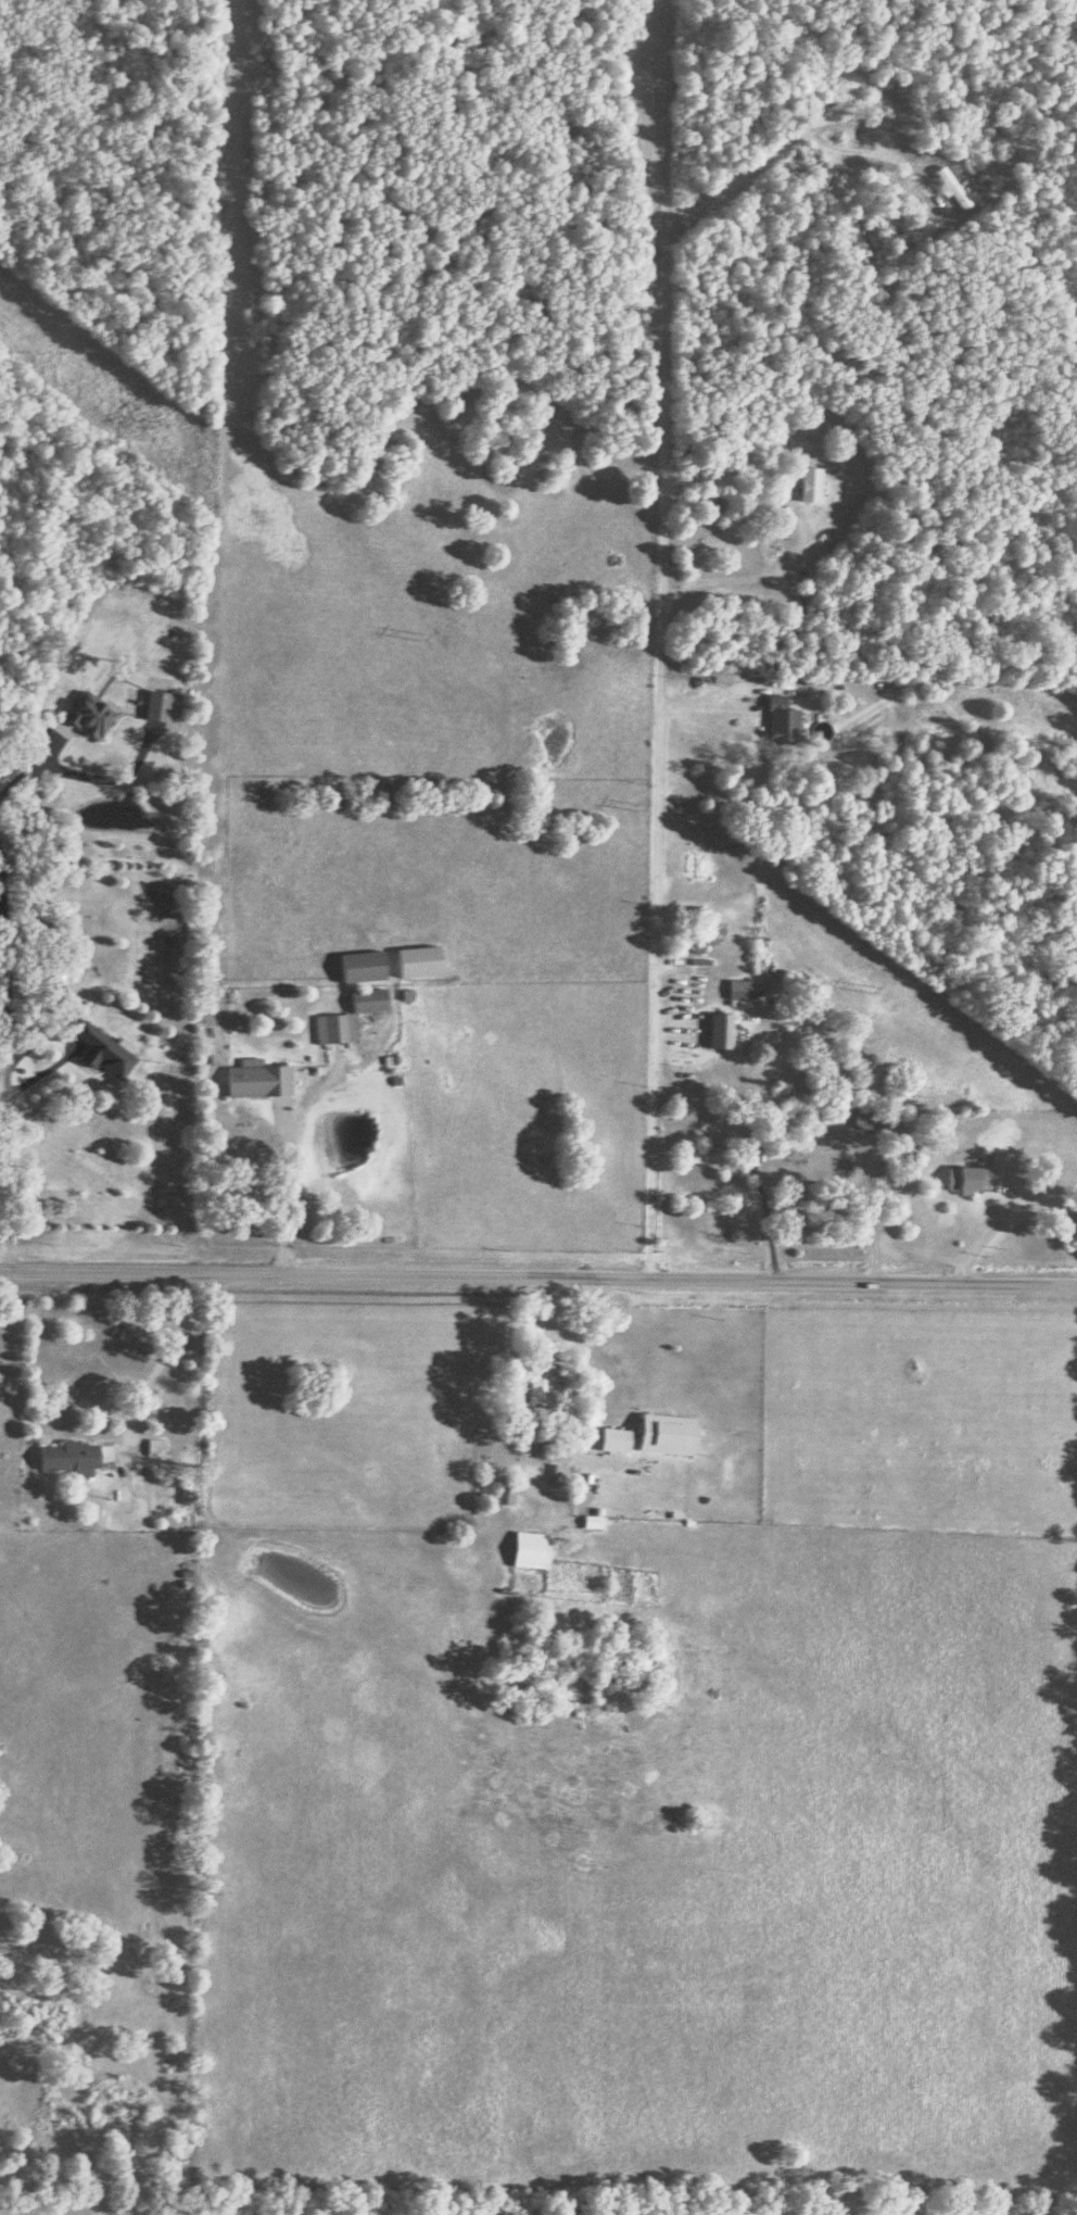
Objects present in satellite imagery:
road: (787, 139)
building: (953, 189)
building: (811, 487)
road: (783, 508)
road: (708, 703)
building: (160, 708)
building: (88, 716)
building: (782, 721)
road: (655, 752)
road: (28, 767)
building: (701, 933)
road: (3, 937)
building: (363, 968)
building: (740, 991)
building: (349, 1018)
road: (3, 1031)
building: (721, 1032)
building: (101, 1052)
building: (258, 1082)
road: (3, 1100)
building: (869, 1120)
road: (7, 1138)
building: (711, 1159)
building: (971, 1180)
road: (278, 1187)
road: (852, 1215)
road: (763, 1225)
road: (987, 1232)
road: (538, 1280)
road: (533, 1352)
road: (157, 1361)
building: (538, 1385)
building: (666, 1437)
building: (154, 1449)
building: (69, 1460)
building: (504, 1494)
building: (531, 1552)

